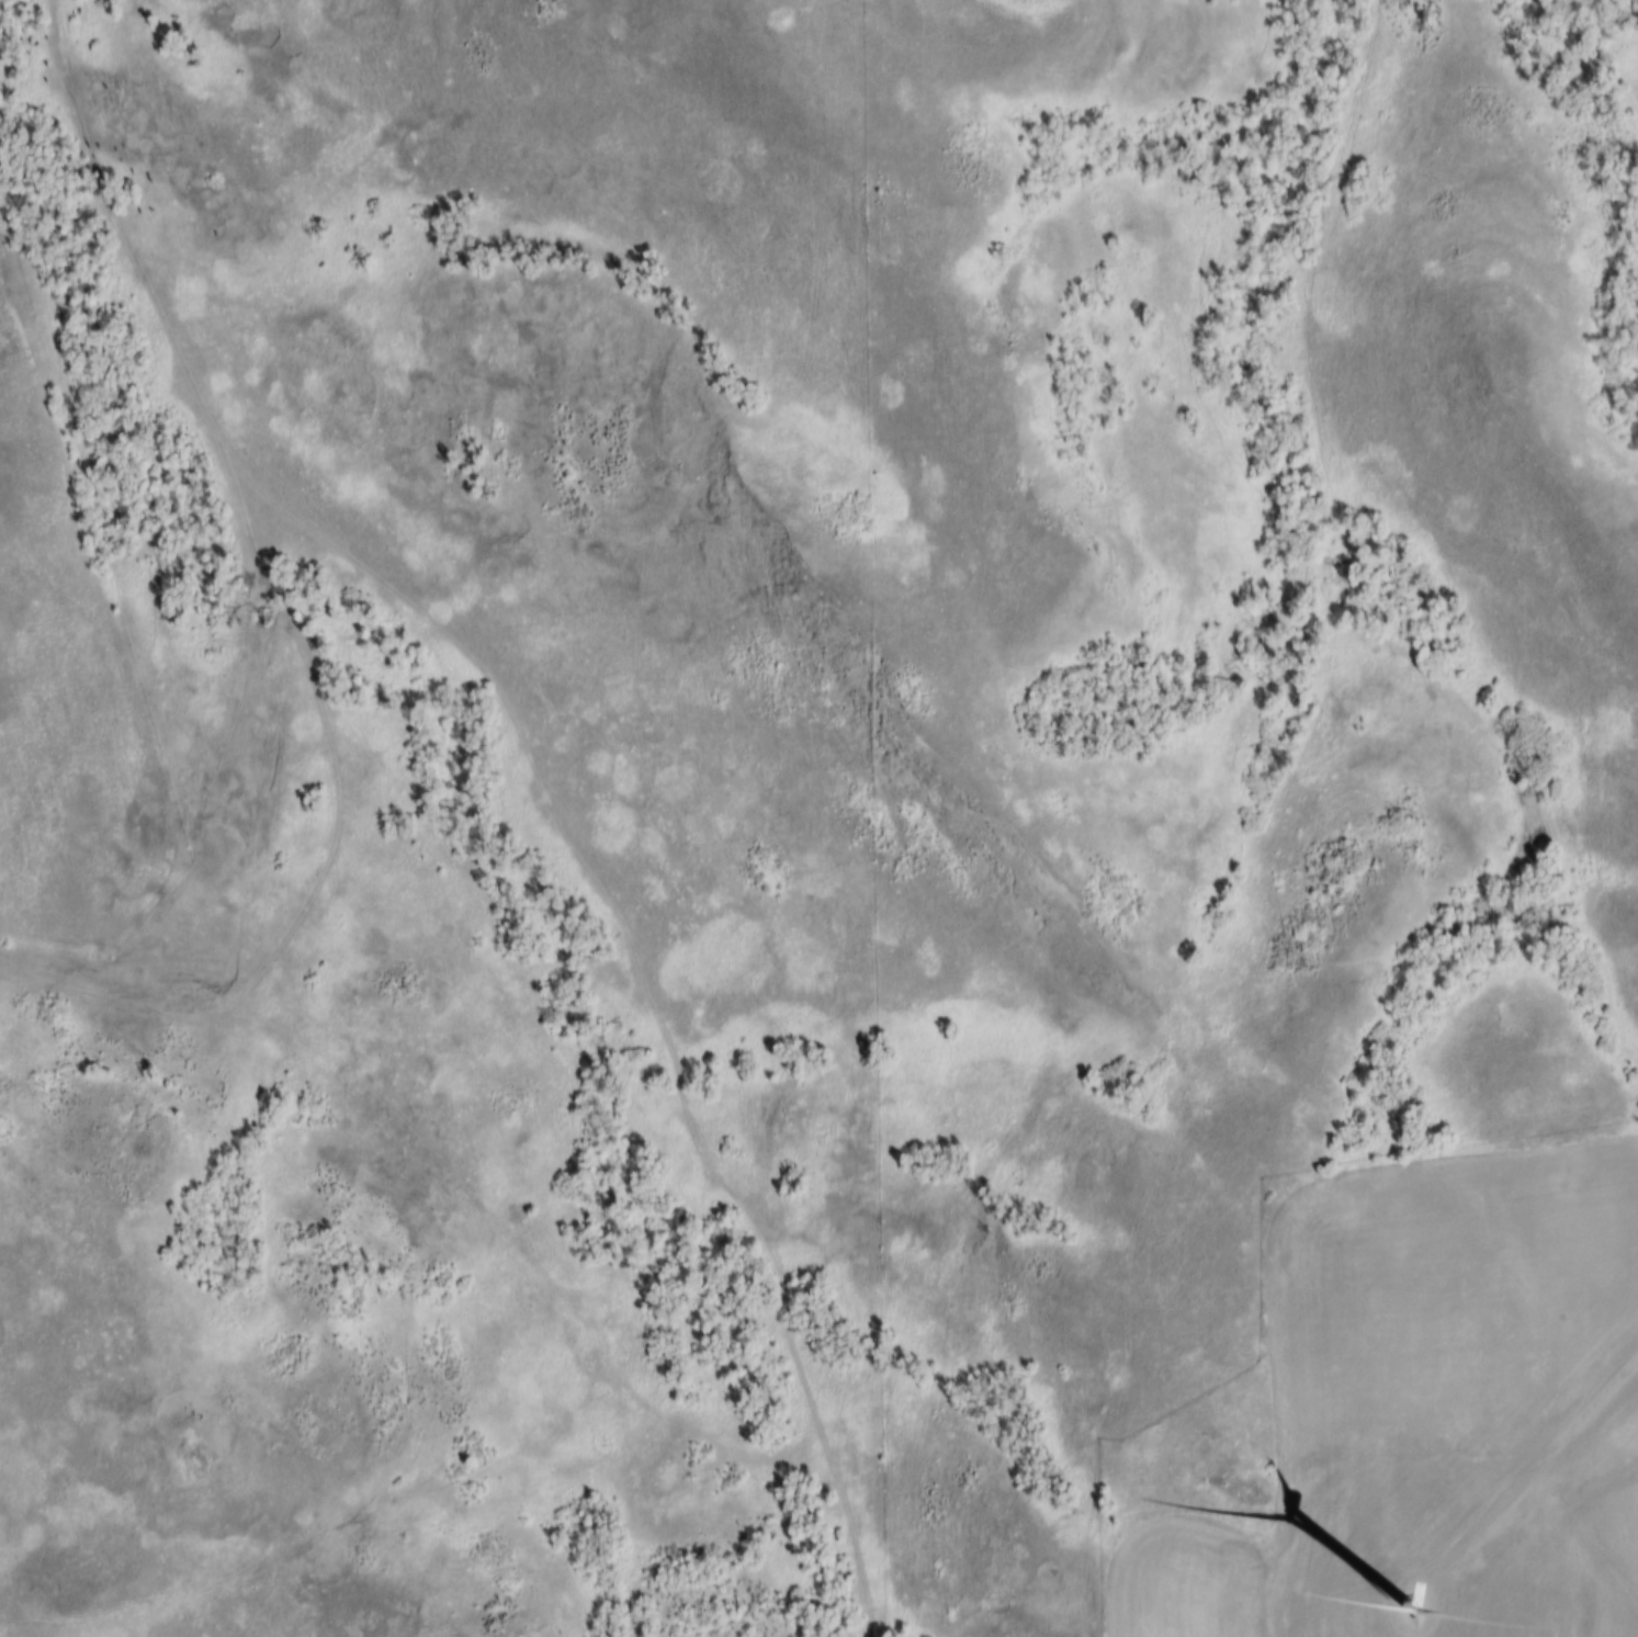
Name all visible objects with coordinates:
road: (1560, 1517)
wind turbine: (1410, 1598)

